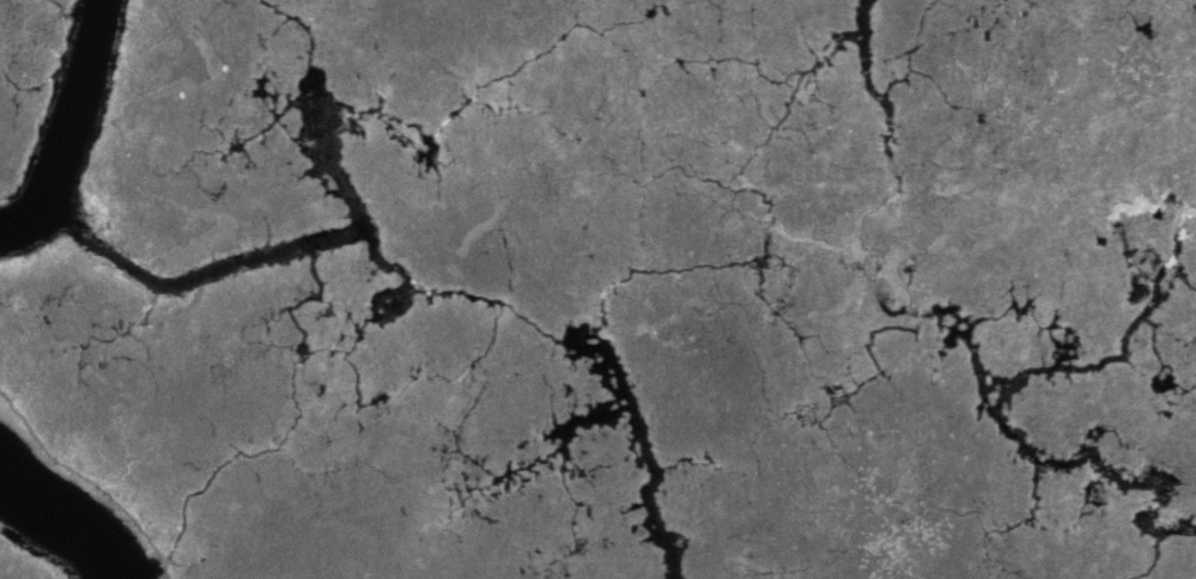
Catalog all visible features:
river: (67, 128)
river: (55, 526)

